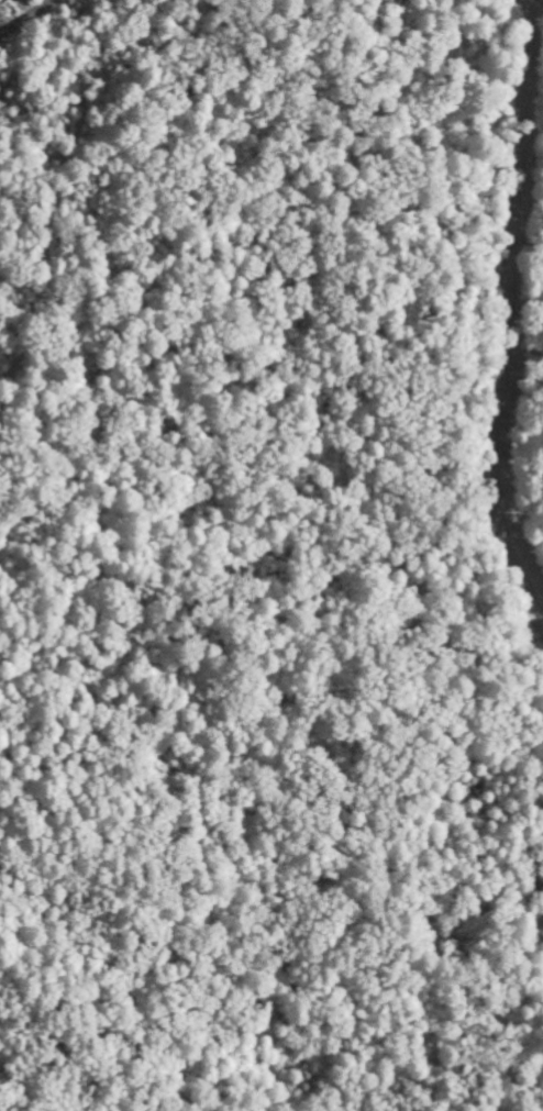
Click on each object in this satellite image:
road: (24, 16)

